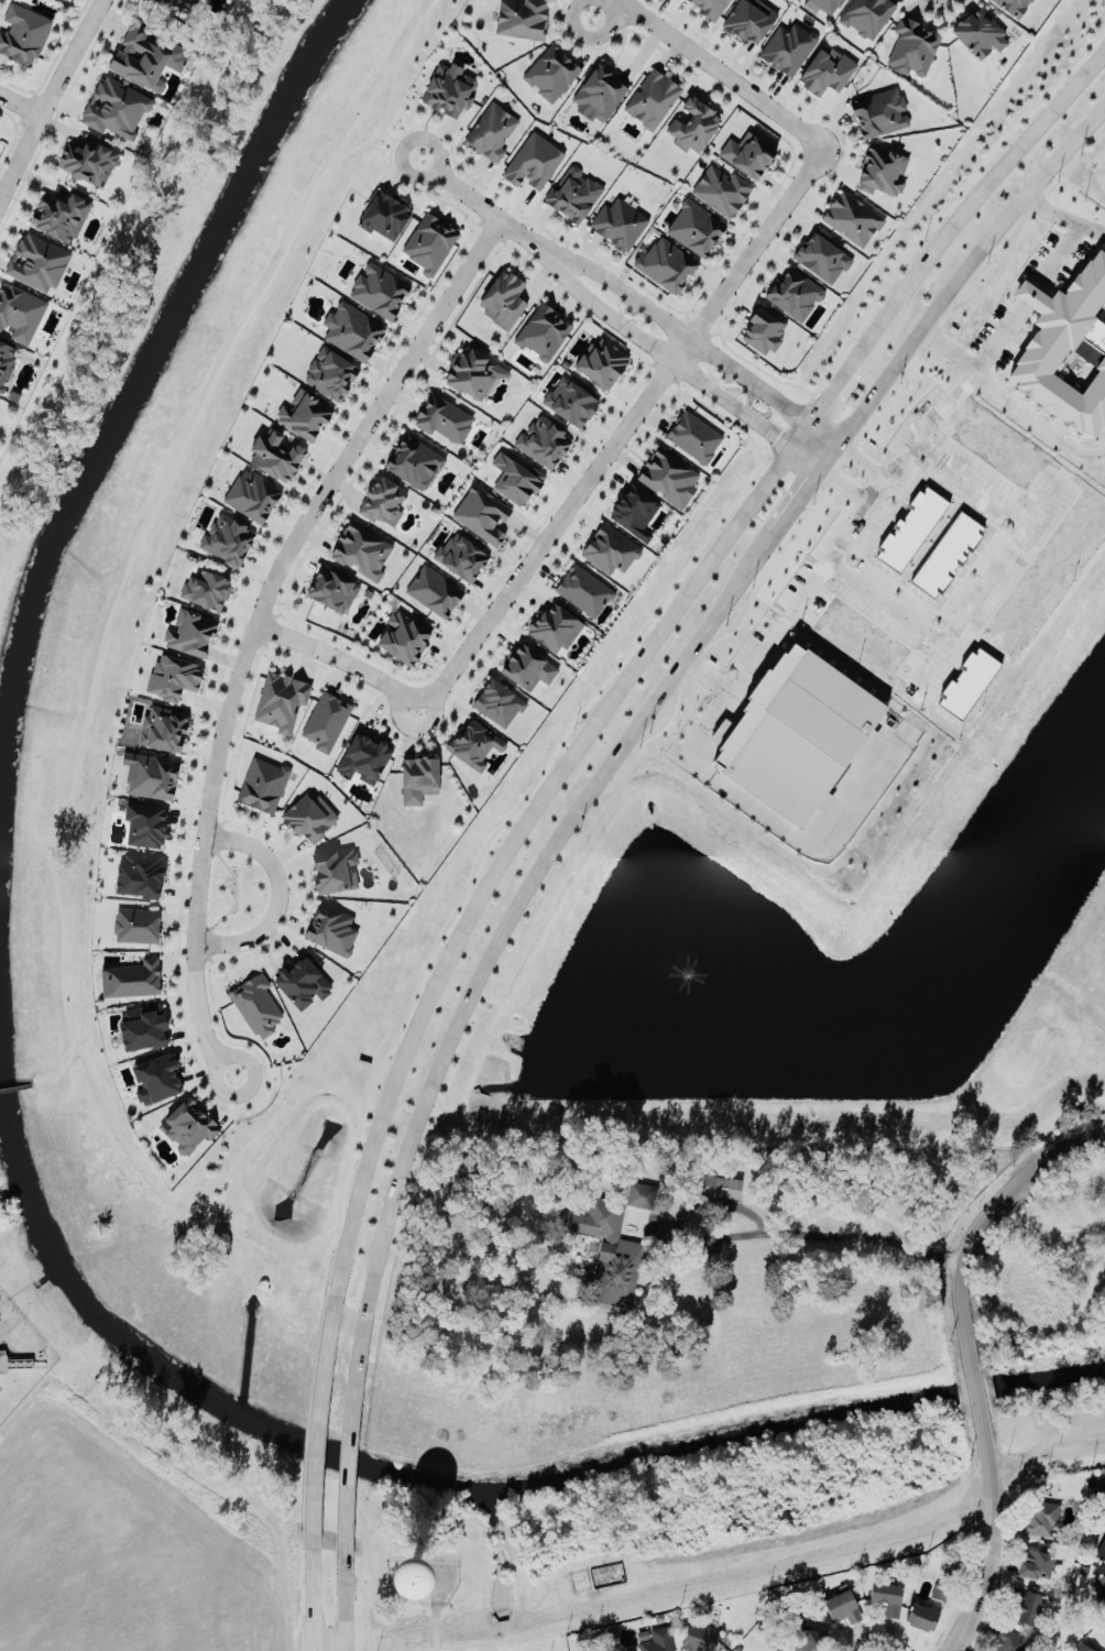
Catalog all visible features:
building: (163, 1)
building: (186, 2)
building: (828, 3)
road: (938, 6)
building: (1014, 6)
building: (711, 8)
building: (866, 15)
building: (522, 17)
building: (748, 17)
building: (980, 29)
building: (23, 31)
road: (592, 34)
building: (789, 44)
building: (912, 44)
road: (210, 54)
building: (146, 55)
road: (212, 58)
building: (825, 69)
building: (551, 70)
road: (722, 70)
building: (449, 89)
road: (391, 90)
building: (599, 94)
road: (48, 96)
road: (732, 97)
building: (652, 98)
road: (20, 105)
building: (116, 105)
road: (57, 111)
building: (879, 112)
road: (384, 119)
building: (693, 124)
building: (491, 129)
road: (13, 133)
road: (368, 141)
building: (747, 154)
building: (88, 161)
building: (533, 161)
building: (882, 168)
road: (462, 174)
building: (721, 189)
building: (573, 190)
road: (971, 200)
road: (480, 201)
building: (385, 211)
building: (59, 216)
building: (852, 216)
road: (482, 221)
building: (620, 221)
road: (1061, 221)
building: (694, 226)
building: (429, 240)
road: (1054, 250)
building: (822, 253)
building: (37, 260)
building: (666, 262)
road: (959, 273)
road: (107, 283)
building: (379, 287)
building: (794, 292)
building: (503, 298)
building: (19, 313)
road: (687, 313)
road: (698, 324)
road: (680, 327)
building: (353, 328)
building: (761, 328)
building: (543, 331)
road: (714, 331)
road: (992, 338)
building: (1069, 345)
road: (661, 351)
building: (602, 360)
building: (6, 361)
road: (652, 362)
road: (757, 364)
road: (666, 369)
building: (470, 372)
building: (329, 373)
river: (144, 376)
road: (679, 384)
road: (831, 391)
road: (810, 397)
building: (571, 398)
road: (1008, 402)
building: (304, 414)
building: (442, 417)
road: (790, 426)
road: (623, 430)
road: (801, 433)
building: (693, 436)
road: (819, 437)
building: (541, 439)
road: (811, 449)
building: (275, 452)
road: (769, 453)
building: (414, 459)
building: (668, 472)
road: (852, 472)
building: (512, 474)
road: (800, 493)
building: (252, 494)
road: (993, 495)
building: (382, 501)
building: (634, 511)
building: (481, 513)
road: (146, 514)
building: (910, 528)
building: (228, 537)
building: (361, 547)
building: (611, 547)
building: (948, 553)
road: (830, 555)
building: (460, 556)
building: (207, 587)
building: (332, 587)
building: (583, 588)
building: (433, 590)
road: (974, 600)
road: (885, 602)
road: (277, 613)
road: (256, 620)
road: (269, 627)
building: (554, 627)
building: (190, 630)
building: (404, 634)
road: (265, 643)
road: (342, 660)
building: (527, 663)
building: (173, 675)
building: (967, 682)
building: (281, 699)
building: (499, 700)
building: (326, 720)
building: (164, 728)
building: (795, 733)
road: (704, 734)
building: (869, 737)
building: (474, 743)
building: (363, 757)
building: (153, 775)
building: (419, 776)
building: (262, 784)
building: (309, 814)
road: (223, 820)
building: (145, 824)
road: (218, 835)
road: (510, 844)
building: (335, 870)
building: (140, 872)
road: (237, 890)
road: (277, 895)
road: (521, 897)
building: (135, 922)
building: (332, 927)
road: (208, 941)
road: (425, 953)
road: (210, 956)
fountain: (681, 969)
building: (131, 978)
building: (303, 980)
road: (210, 982)
building: (256, 1003)
building: (143, 1026)
building: (155, 1072)
road: (23, 1086)
building: (188, 1123)
building: (720, 1185)
building: (641, 1194)
road: (834, 1234)
building: (608, 1248)
road: (970, 1359)
river: (1049, 1373)
river: (975, 1387)
road: (316, 1419)
road: (349, 1430)
road: (1042, 1444)
river: (363, 1459)
building: (1042, 1517)
building: (1102, 1549)
building: (1036, 1563)
water tower: (409, 1577)
building: (1099, 1588)
building: (938, 1592)
building: (887, 1595)
road: (311, 1596)
road: (344, 1600)
building: (843, 1605)
building: (1028, 1607)
building: (921, 1616)
road: (436, 1632)
building: (701, 1636)
building: (655, 1639)
building: (813, 1640)
building: (1008, 1640)
road: (879, 1642)
building: (1081, 1648)
road: (286, 1650)

